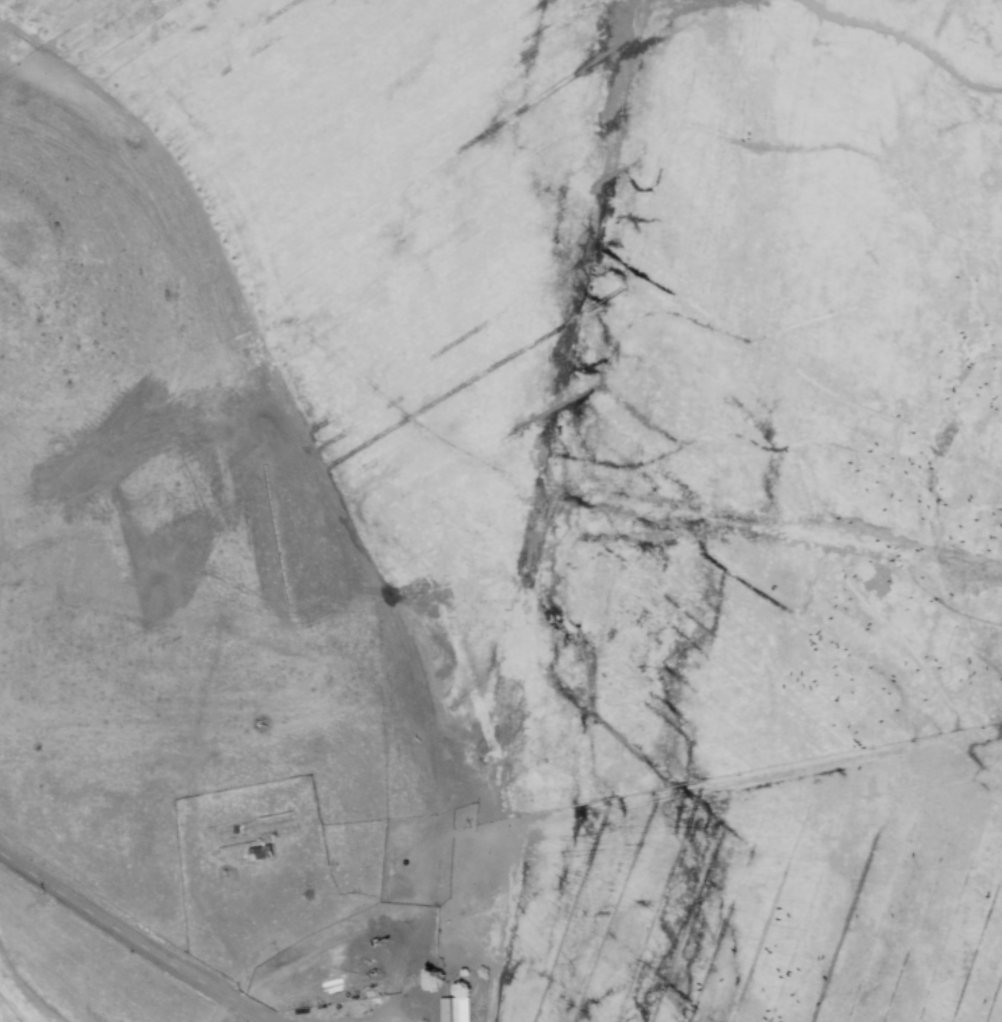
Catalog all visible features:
road: (129, 944)
building: (454, 1009)

